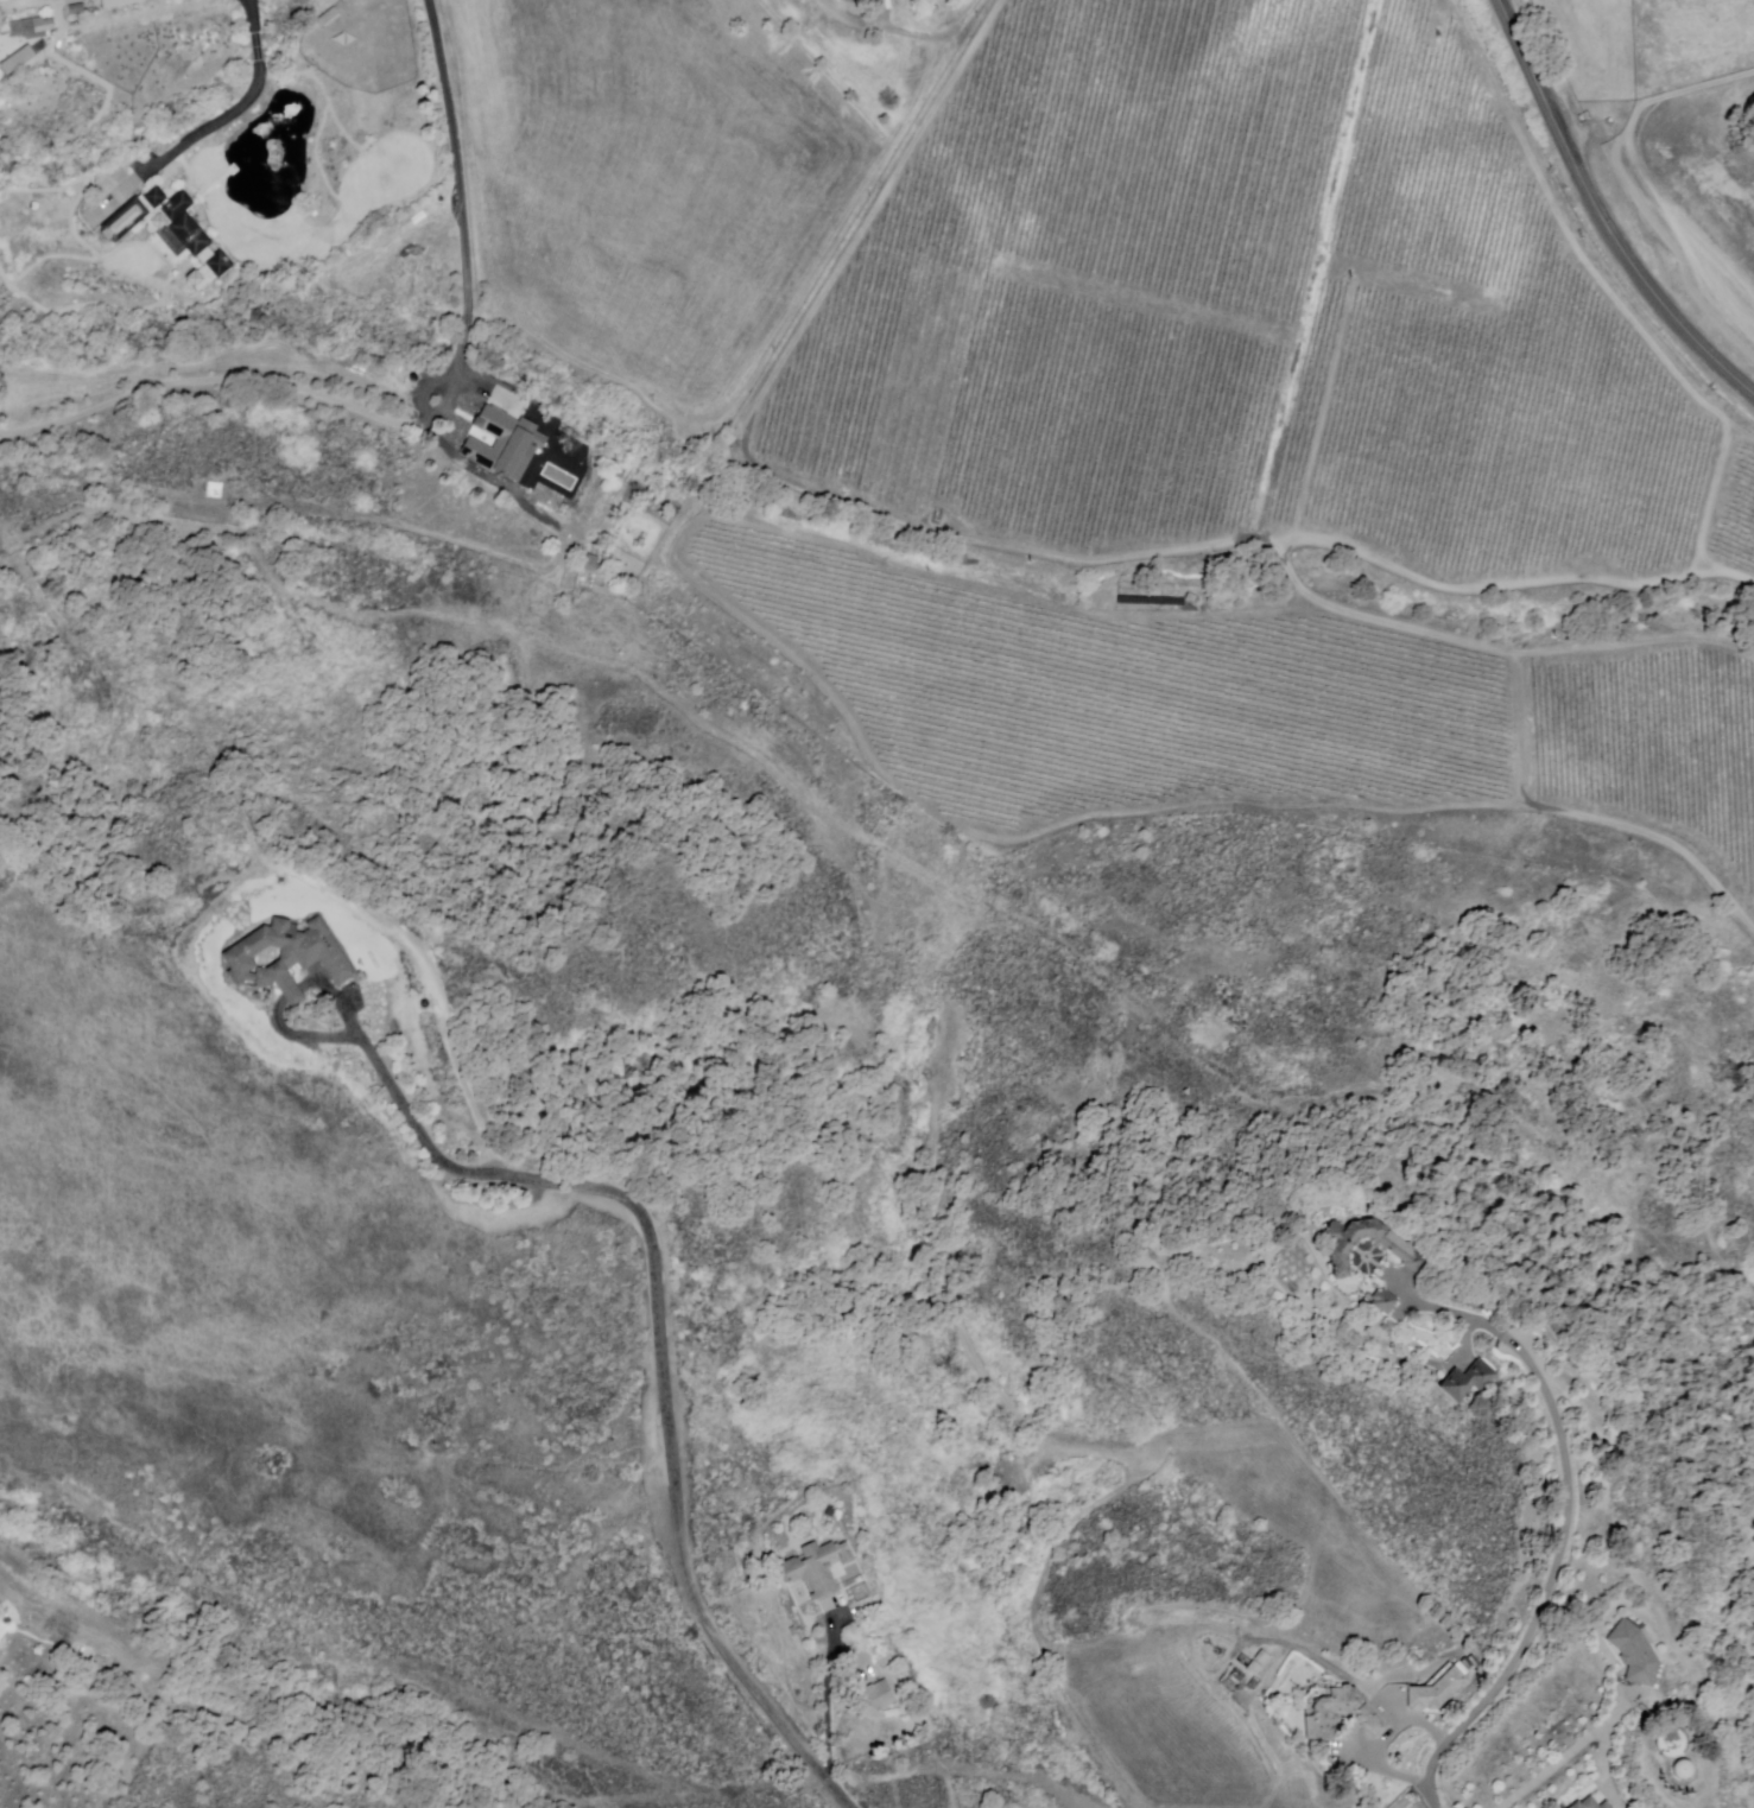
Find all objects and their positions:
building: (851, 0)
building: (854, 1)
building: (127, 5)
building: (76, 8)
road: (254, 15)
building: (31, 26)
road: (903, 31)
road: (259, 47)
building: (13, 63)
road: (219, 125)
pier: (232, 171)
road: (215, 184)
road: (1601, 211)
building: (175, 233)
building: (1174, 297)
road: (423, 420)
building: (502, 425)
building: (290, 957)
building: (1398, 1245)
building: (1380, 1299)
road: (660, 1309)
road: (1456, 1314)
road: (1469, 1339)
building: (1468, 1381)
building: (816, 1567)
road: (1549, 1593)
building: (1634, 1655)
building: (1258, 1664)
building: (1436, 1692)
building: (878, 1694)
building: (1338, 1715)
road: (827, 1720)
crop: (1179, 1731)
building: (1671, 1742)
storage tank: (1671, 1743)
road: (1383, 1744)
road: (1570, 1751)
storage tank: (1682, 1771)
building: (1591, 1804)

